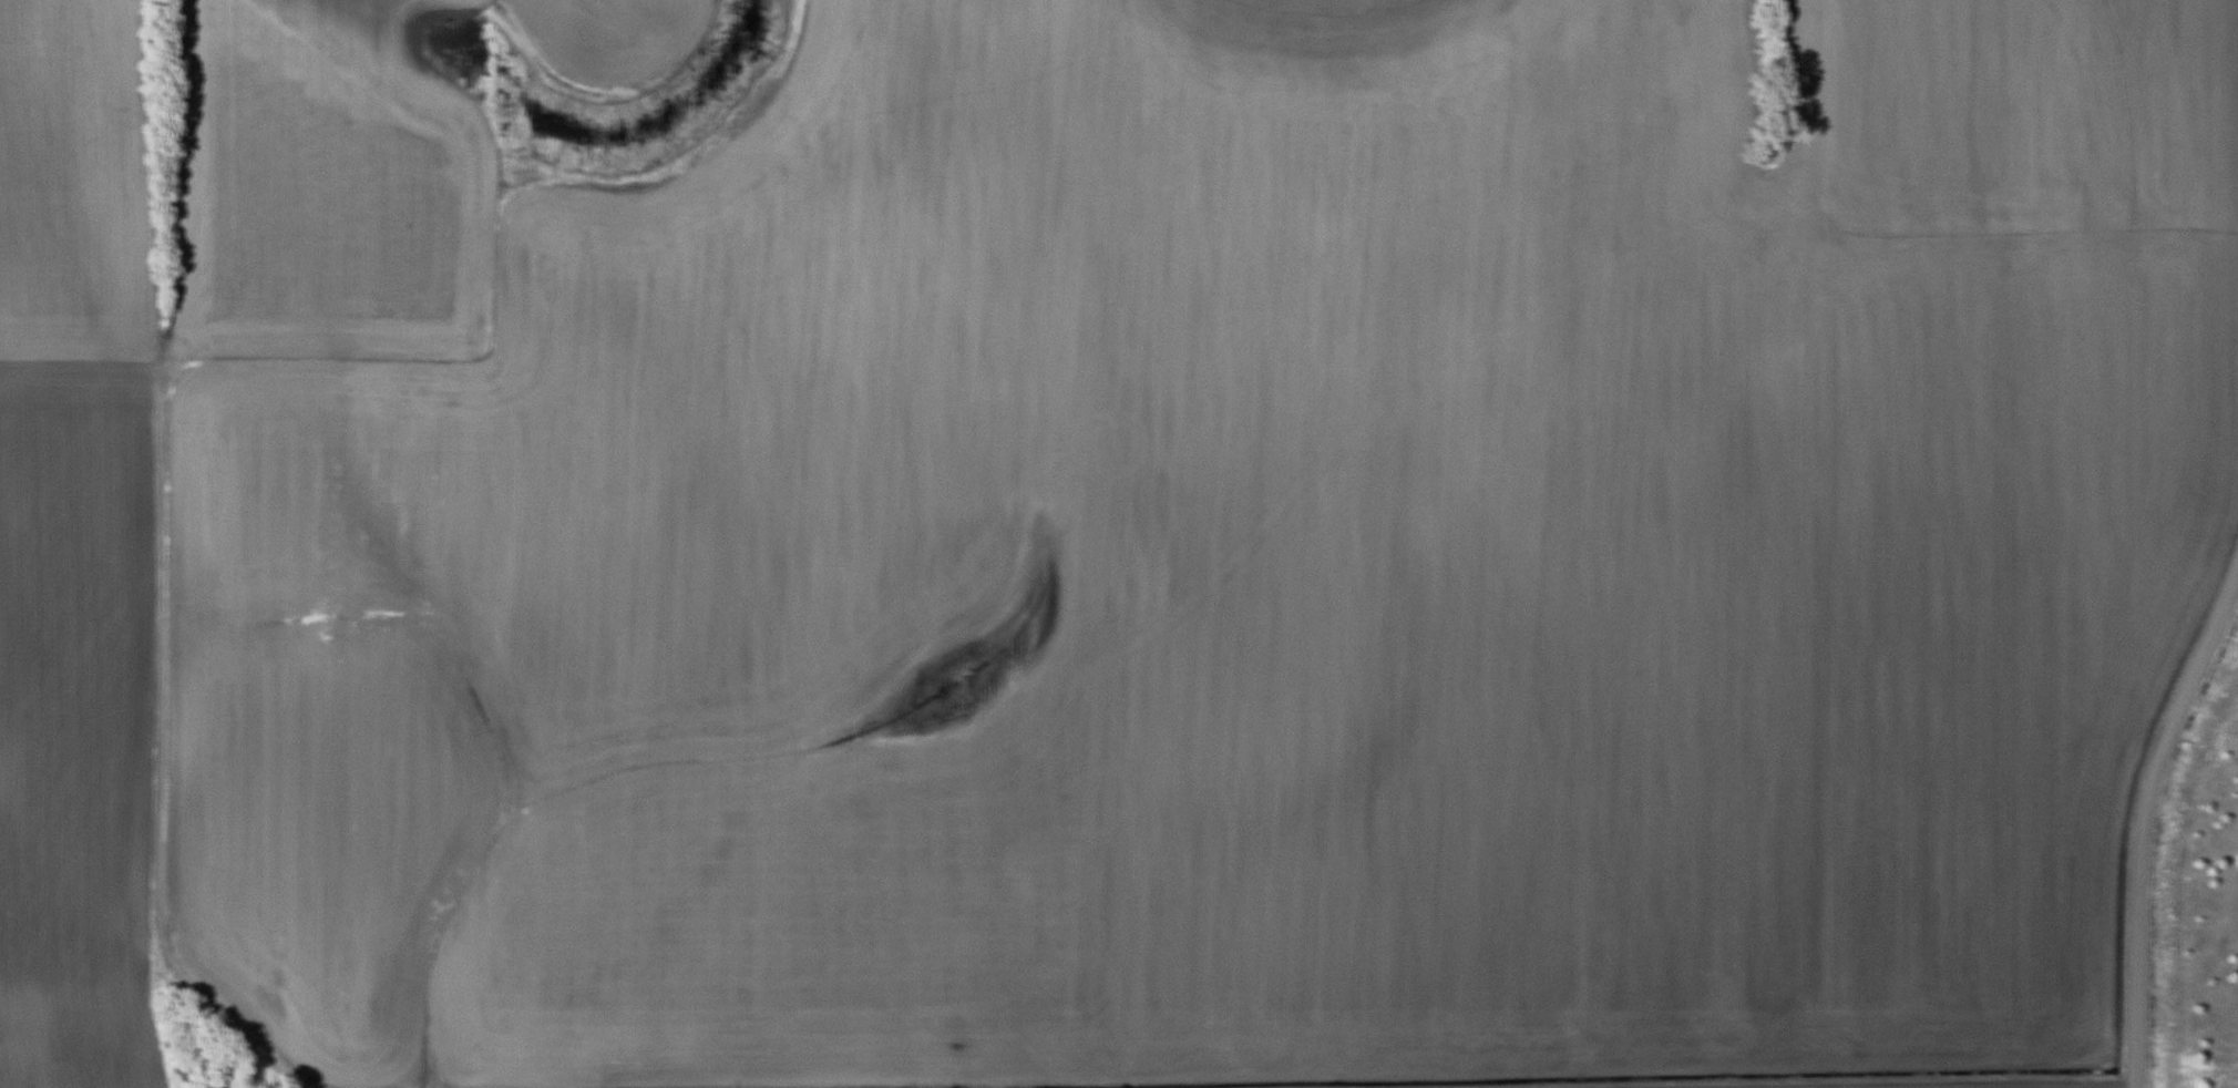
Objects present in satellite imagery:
road: (2144, 823)
road: (2189, 874)
road: (2042, 1086)

